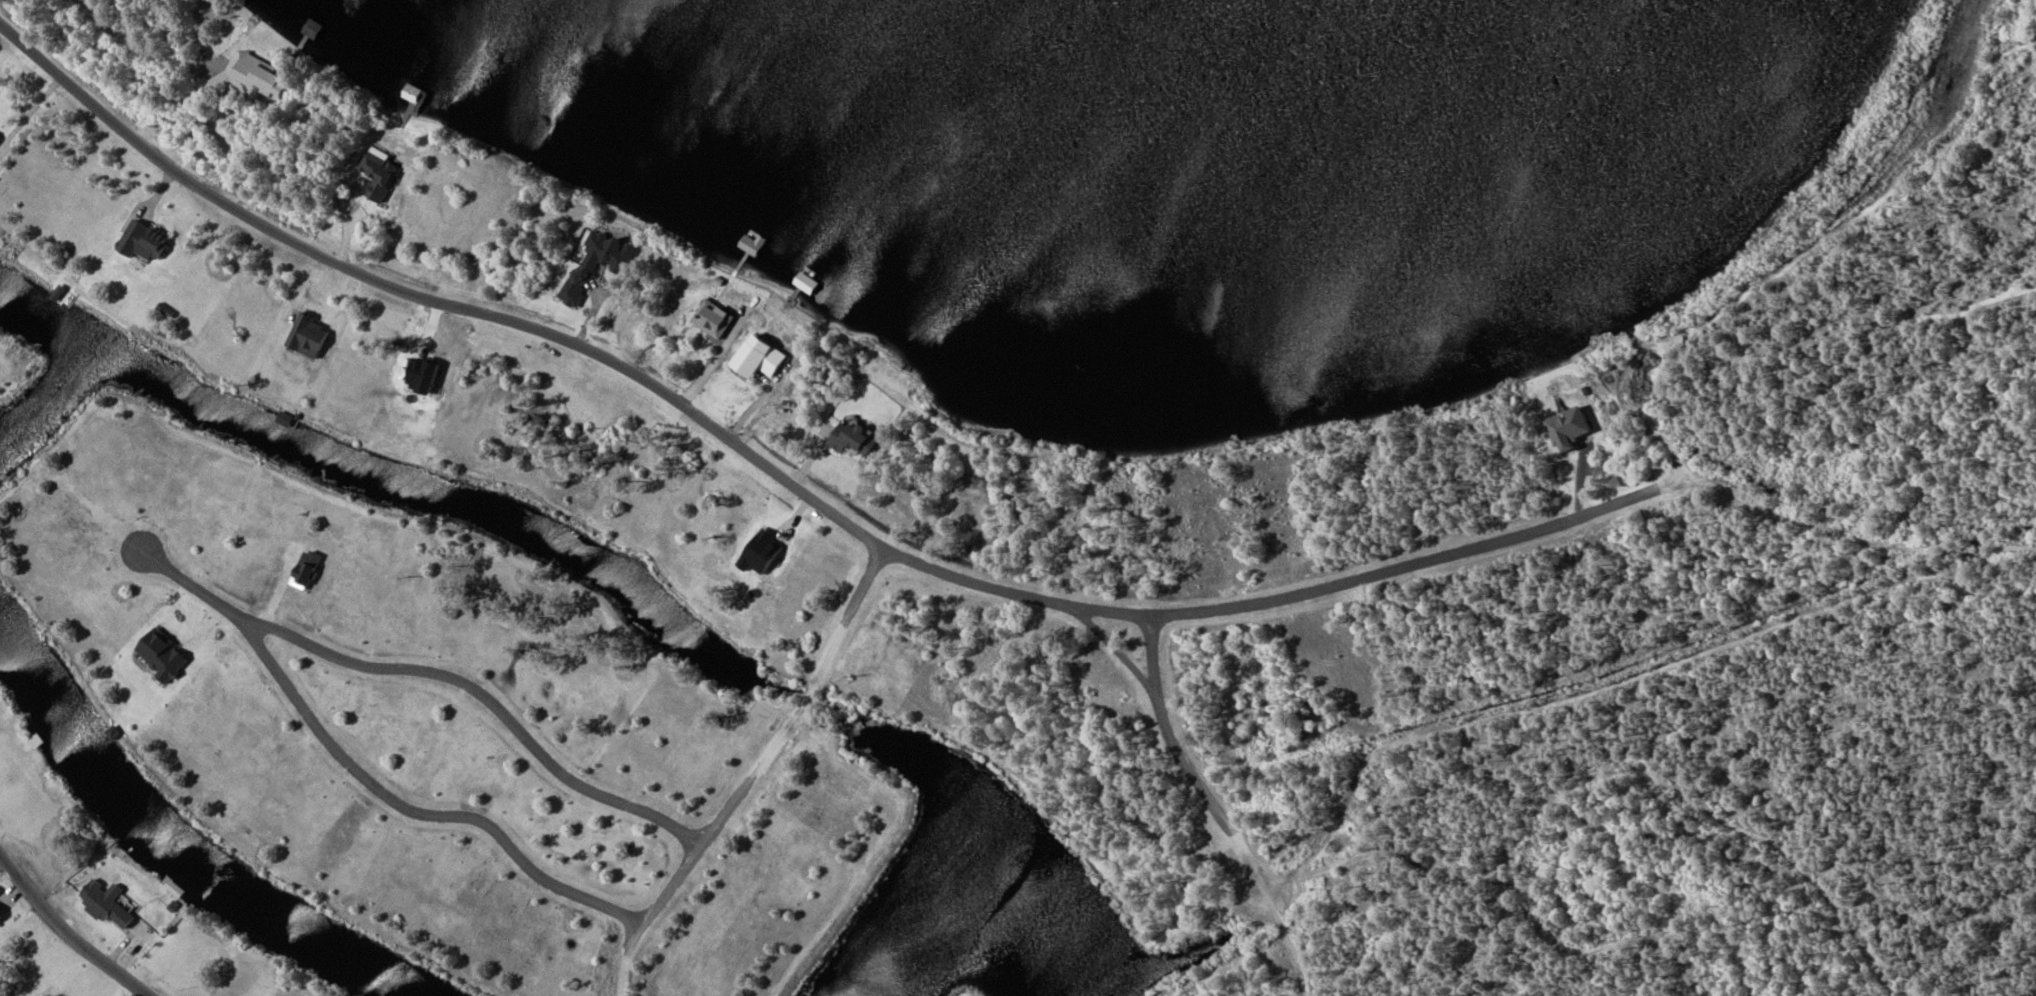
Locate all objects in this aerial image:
building: (251, 78)
building: (376, 173)
building: (145, 244)
building: (589, 264)
building: (712, 320)
building: (309, 336)
building: (755, 358)
building: (1567, 429)
building: (853, 442)
road: (796, 486)
building: (105, 904)
building: (0, 919)
road: (66, 934)

